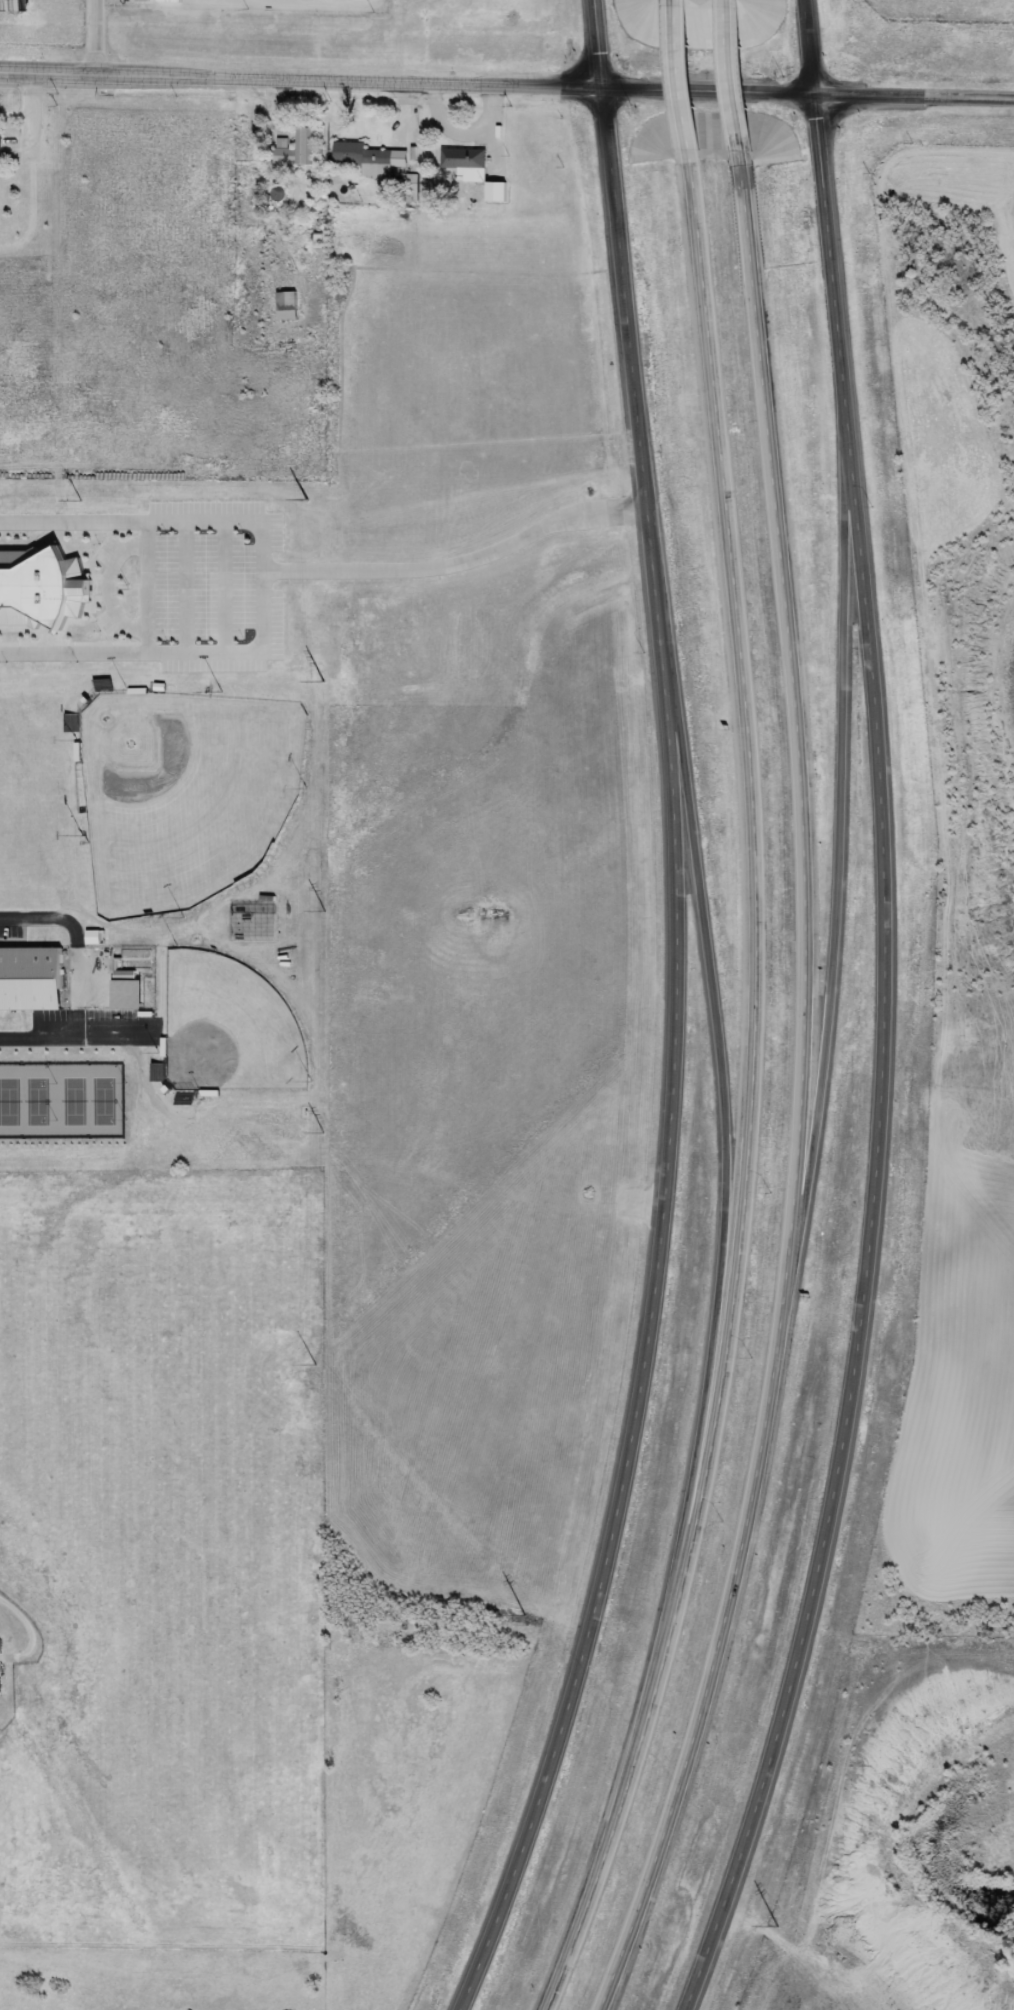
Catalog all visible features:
road: (674, 81)
road: (725, 81)
road: (406, 85)
road: (913, 98)
building: (294, 149)
building: (360, 159)
building: (469, 171)
building: (408, 187)
building: (282, 306)
road: (73, 522)
road: (459, 563)
road: (185, 587)
road: (223, 587)
building: (41, 589)
road: (263, 651)
road: (73, 652)
building: (104, 685)
park: (182, 795)
road: (837, 846)
road: (76, 943)
building: (131, 958)
building: (31, 979)
road: (879, 1015)
road: (671, 1017)
park: (226, 1027)
road: (78, 1037)
road: (718, 1063)
road: (746, 1097)
road: (796, 1097)
park: (59, 1100)

